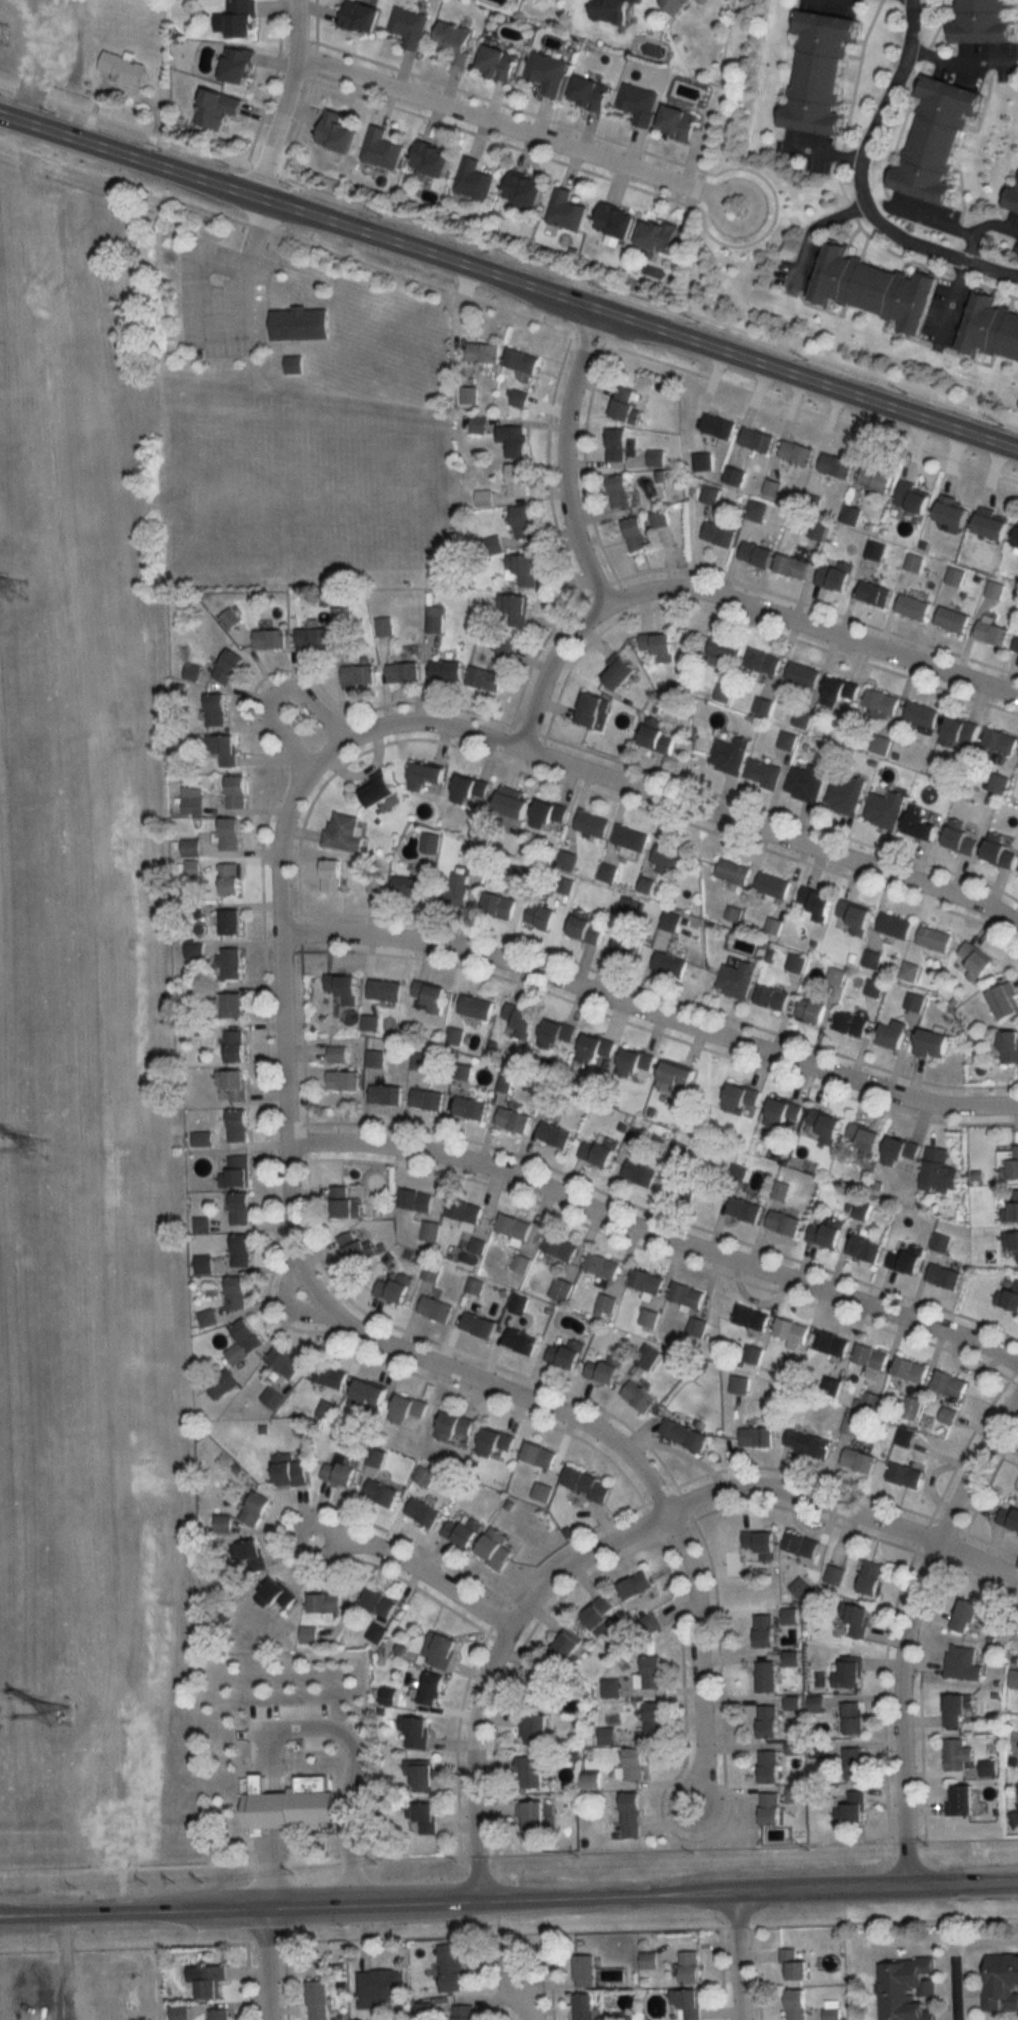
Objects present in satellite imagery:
building: (638, 0)
building: (674, 4)
building: (611, 10)
building: (361, 16)
building: (242, 18)
building: (983, 22)
building: (409, 25)
building: (454, 40)
building: (498, 62)
building: (238, 64)
road: (960, 64)
building: (123, 68)
building: (820, 70)
building: (547, 71)
building: (590, 92)
road: (284, 102)
building: (638, 103)
road: (884, 103)
building: (217, 107)
building: (678, 122)
road: (514, 129)
building: (337, 131)
building: (937, 138)
building: (381, 147)
road: (822, 154)
building: (432, 158)
building: (474, 179)
building: (524, 189)
building: (1013, 198)
building: (566, 209)
road: (930, 218)
building: (617, 219)
road: (982, 227)
road: (811, 229)
building: (658, 234)
road: (255, 236)
road: (936, 248)
road: (509, 252)
road: (509, 285)
building: (875, 287)
road: (951, 298)
road: (509, 311)
building: (298, 319)
building: (991, 327)
road: (242, 335)
building: (483, 352)
building: (522, 360)
building: (294, 364)
building: (519, 398)
building: (628, 404)
building: (718, 425)
building: (513, 439)
building: (757, 439)
building: (616, 444)
building: (797, 452)
building: (656, 457)
road: (563, 462)
building: (836, 465)
building: (733, 475)
building: (877, 478)
building: (516, 479)
building: (772, 487)
building: (619, 491)
park: (307, 493)
building: (709, 494)
building: (913, 497)
building: (756, 510)
building: (952, 511)
building: (851, 514)
building: (659, 518)
building: (523, 521)
building: (992, 523)
building: (817, 529)
building: (719, 532)
building: (635, 533)
building: (1017, 542)
building: (875, 549)
building: (756, 553)
building: (791, 565)
building: (835, 575)
building: (956, 576)
building: (995, 589)
building: (874, 593)
power tower: (20, 594)
road: (732, 601)
building: (913, 607)
building: (516, 610)
building: (229, 618)
building: (434, 618)
building: (953, 619)
building: (340, 620)
building: (384, 626)
building: (992, 633)
building: (311, 637)
building: (269, 639)
building: (1016, 643)
building: (658, 645)
building: (503, 646)
building: (724, 648)
building: (763, 660)
building: (228, 666)
building: (445, 670)
building: (620, 671)
building: (403, 672)
building: (803, 674)
building: (358, 676)
building: (485, 678)
road: (272, 690)
building: (841, 690)
building: (881, 701)
building: (215, 710)
building: (592, 710)
building: (921, 714)
building: (961, 732)
building: (659, 735)
building: (1000, 740)
building: (222, 749)
building: (730, 755)
building: (762, 773)
building: (426, 776)
building: (806, 783)
building: (378, 790)
building: (470, 791)
building: (235, 792)
building: (846, 795)
road: (668, 800)
building: (511, 802)
building: (885, 808)
building: (548, 813)
building: (592, 823)
building: (921, 826)
building: (343, 832)
building: (229, 833)
building: (630, 837)
building: (960, 838)
building: (429, 842)
building: (999, 851)
building: (476, 857)
building: (668, 859)
building: (566, 860)
building: (606, 872)
building: (733, 872)
building: (1017, 872)
building: (331, 875)
building: (520, 875)
building: (229, 878)
building: (374, 883)
building: (563, 884)
building: (772, 885)
building: (408, 886)
building: (451, 894)
building: (498, 903)
building: (816, 904)
building: (540, 913)
building: (853, 917)
building: (229, 922)
building: (894, 924)
road: (1014, 927)
building: (585, 928)
building: (934, 939)
building: (625, 947)
building: (872, 958)
building: (670, 961)
building: (795, 962)
building: (973, 962)
building: (229, 963)
building: (909, 971)
building: (736, 980)
building: (874, 987)
building: (341, 989)
building: (384, 990)
building: (430, 996)
building: (772, 997)
building: (914, 1001)
building: (1005, 1001)
building: (231, 1006)
building: (475, 1007)
building: (811, 1010)
road: (650, 1012)
building: (519, 1021)
building: (850, 1023)
building: (892, 1034)
building: (557, 1036)
building: (933, 1044)
building: (234, 1046)
building: (1009, 1047)
building: (596, 1051)
building: (337, 1053)
building: (635, 1063)
building: (676, 1079)
building: (343, 1080)
road: (282, 1083)
building: (233, 1084)
building: (386, 1094)
building: (426, 1099)
building: (741, 1100)
building: (470, 1108)
building: (783, 1112)
building: (513, 1120)
building: (237, 1124)
building: (826, 1126)
building: (554, 1134)
building: (865, 1139)
power tower: (44, 1150)
building: (600, 1151)
building: (900, 1153)
building: (1009, 1160)
building: (939, 1170)
building: (236, 1172)
building: (737, 1172)
building: (639, 1173)
building: (679, 1187)
building: (416, 1200)
building: (345, 1203)
building: (744, 1209)
building: (1011, 1209)
building: (240, 1211)
building: (465, 1211)
building: (784, 1223)
building: (514, 1226)
building: (430, 1231)
road: (656, 1233)
building: (827, 1233)
building: (1011, 1243)
building: (477, 1245)
building: (355, 1247)
building: (560, 1247)
building: (241, 1250)
building: (864, 1250)
building: (907, 1260)
building: (602, 1265)
building: (431, 1272)
building: (944, 1277)
building: (646, 1281)
building: (394, 1289)
building: (560, 1289)
building: (236, 1293)
building: (687, 1295)
building: (1009, 1297)
building: (518, 1303)
building: (605, 1305)
building: (435, 1309)
building: (207, 1318)
building: (648, 1318)
building: (751, 1318)
building: (477, 1325)
building: (792, 1332)
building: (243, 1341)
building: (520, 1341)
building: (832, 1343)
building: (566, 1354)
building: (870, 1356)
building: (284, 1362)
building: (910, 1369)
building: (603, 1371)
building: (329, 1375)
building: (221, 1384)
building: (950, 1384)
building: (740, 1385)
building: (367, 1397)
building: (639, 1397)
building: (869, 1400)
building: (911, 1407)
building: (408, 1409)
building: (327, 1410)
road: (558, 1415)
building: (453, 1425)
building: (852, 1425)
building: (684, 1435)
building: (757, 1437)
building: (904, 1438)
building: (494, 1442)
building: (807, 1442)
building: (538, 1455)
building: (859, 1460)
building: (341, 1470)
building: (289, 1471)
building: (906, 1476)
building: (586, 1484)
building: (541, 1491)
building: (380, 1493)
building: (255, 1509)
building: (423, 1512)
road: (842, 1512)
building: (1009, 1518)
building: (463, 1530)
building: (761, 1542)
building: (801, 1545)
building: (495, 1549)
building: (247, 1555)
road: (414, 1571)
building: (834, 1575)
building: (870, 1577)
building: (636, 1586)
building: (800, 1587)
building: (276, 1595)
building: (378, 1602)
building: (324, 1603)
building: (599, 1615)
building: (968, 1615)
building: (856, 1619)
road: (906, 1629)
building: (764, 1630)
building: (375, 1632)
building: (308, 1634)
building: (566, 1648)
building: (438, 1650)
road: (697, 1658)
building: (963, 1663)
road: (487, 1666)
building: (652, 1672)
building: (848, 1672)
building: (766, 1677)
building: (548, 1682)
building: (609, 1687)
building: (430, 1688)
building: (958, 1710)
building: (654, 1718)
building: (853, 1718)
power tower: (66, 1720)
building: (768, 1721)
building: (535, 1728)
building: (417, 1731)
building: (958, 1755)
building: (854, 1764)
building: (632, 1765)
building: (769, 1767)
building: (532, 1772)
building: (420, 1773)
building: (592, 1782)
building: (795, 1794)
building: (961, 1801)
building: (290, 1805)
building: (770, 1809)
building: (533, 1814)
building: (850, 1814)
building: (630, 1815)
building: (426, 1817)
building: (1015, 1821)
road: (509, 1903)
road: (737, 1956)
road: (265, 1965)
building: (794, 1965)
building: (451, 1966)
building: (690, 1966)
building: (585, 1970)
building: (210, 1980)
building: (1001, 1981)
building: (379, 1986)
building: (907, 1989)
road: (954, 1990)
building: (318, 2000)
road: (524, 2001)
building: (687, 2003)
building: (797, 2004)
building: (585, 2007)
building: (430, 2010)
building: (178, 2012)
building: (463, 2012)
building: (220, 2014)

